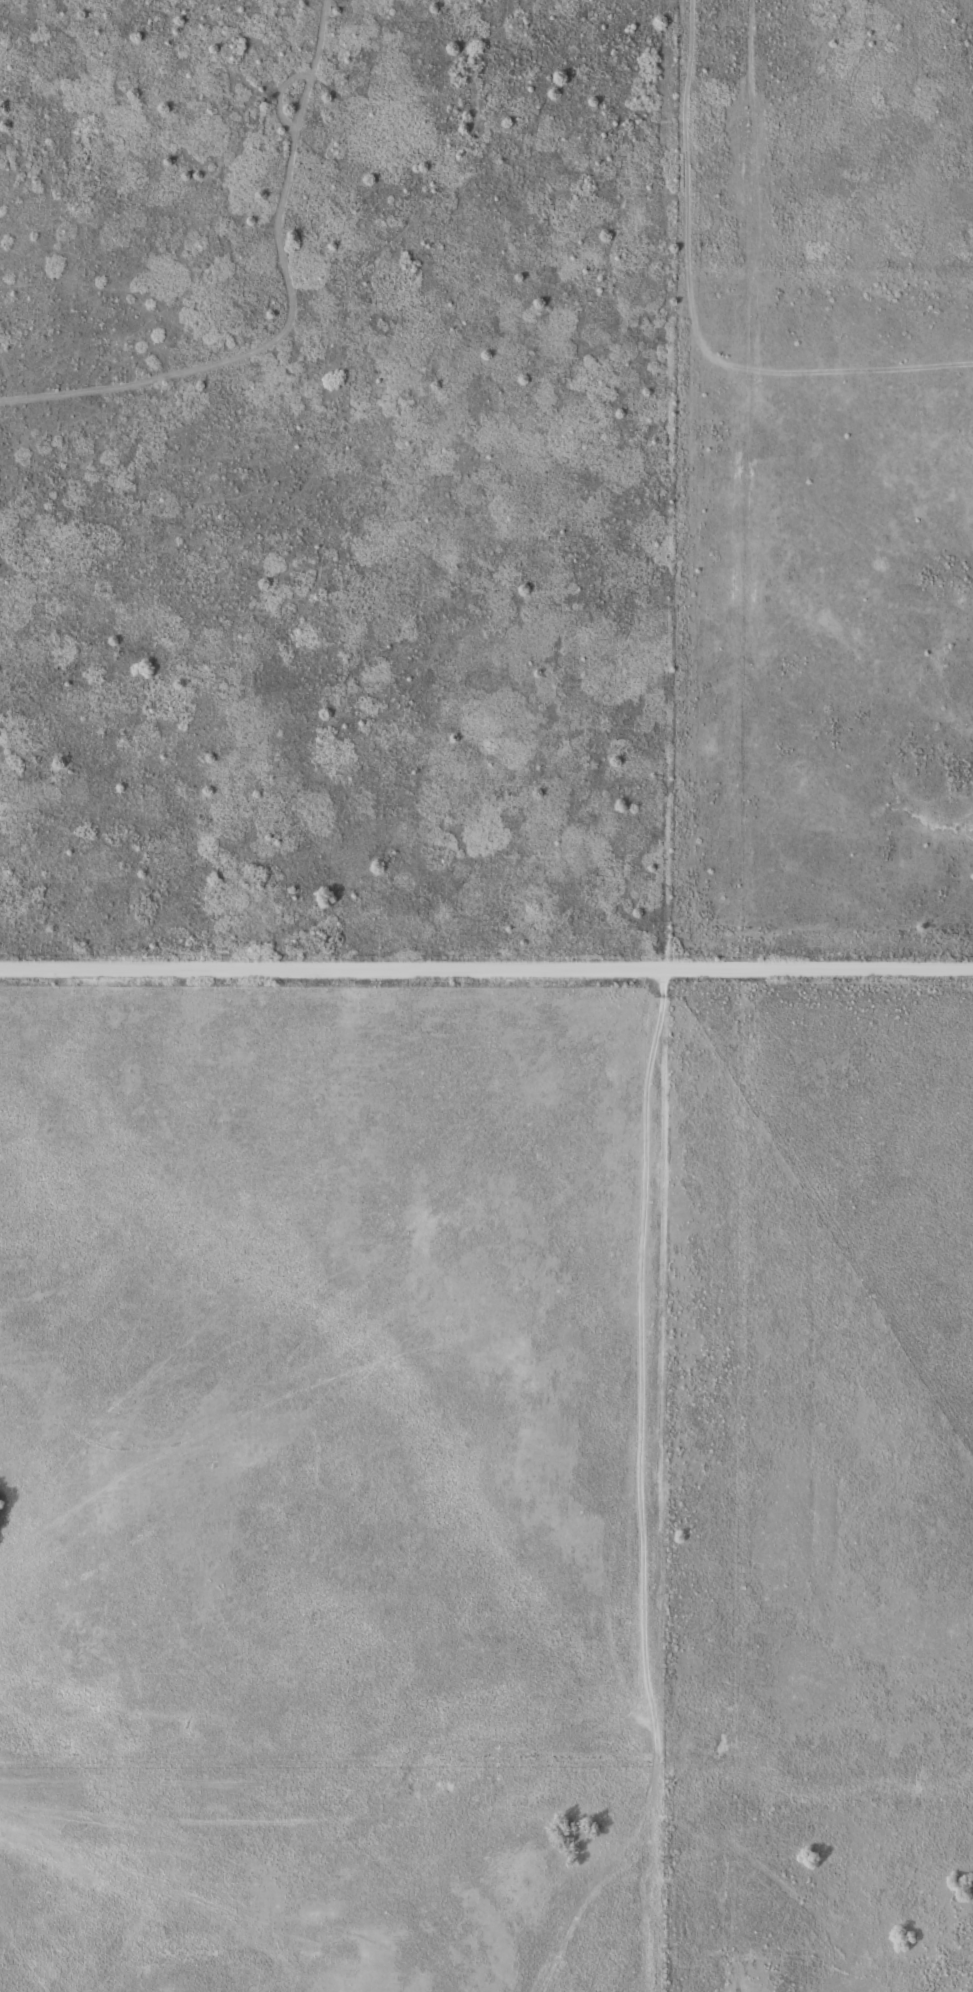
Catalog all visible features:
road: (486, 965)

